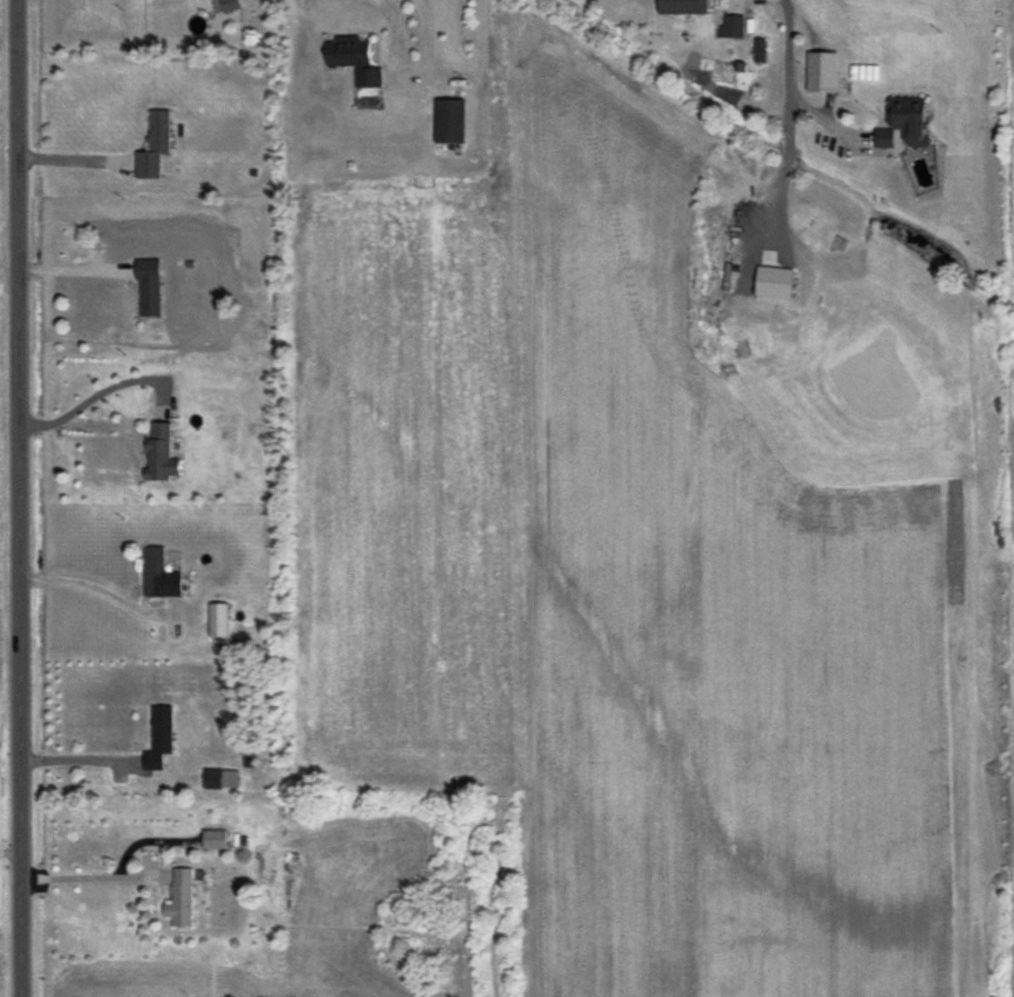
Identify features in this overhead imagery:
building: (229, 5)
building: (682, 6)
building: (732, 27)
building: (758, 51)
road: (425, 54)
building: (353, 58)
building: (813, 73)
road: (785, 76)
building: (449, 121)
building: (903, 123)
building: (153, 146)
road: (72, 157)
road: (71, 268)
building: (150, 297)
road: (98, 390)
building: (160, 452)
road: (15, 498)
building: (158, 574)
road: (95, 588)
building: (159, 738)
road: (76, 758)
building: (211, 778)
building: (214, 840)
road: (8, 852)
road: (91, 876)
building: (181, 897)

